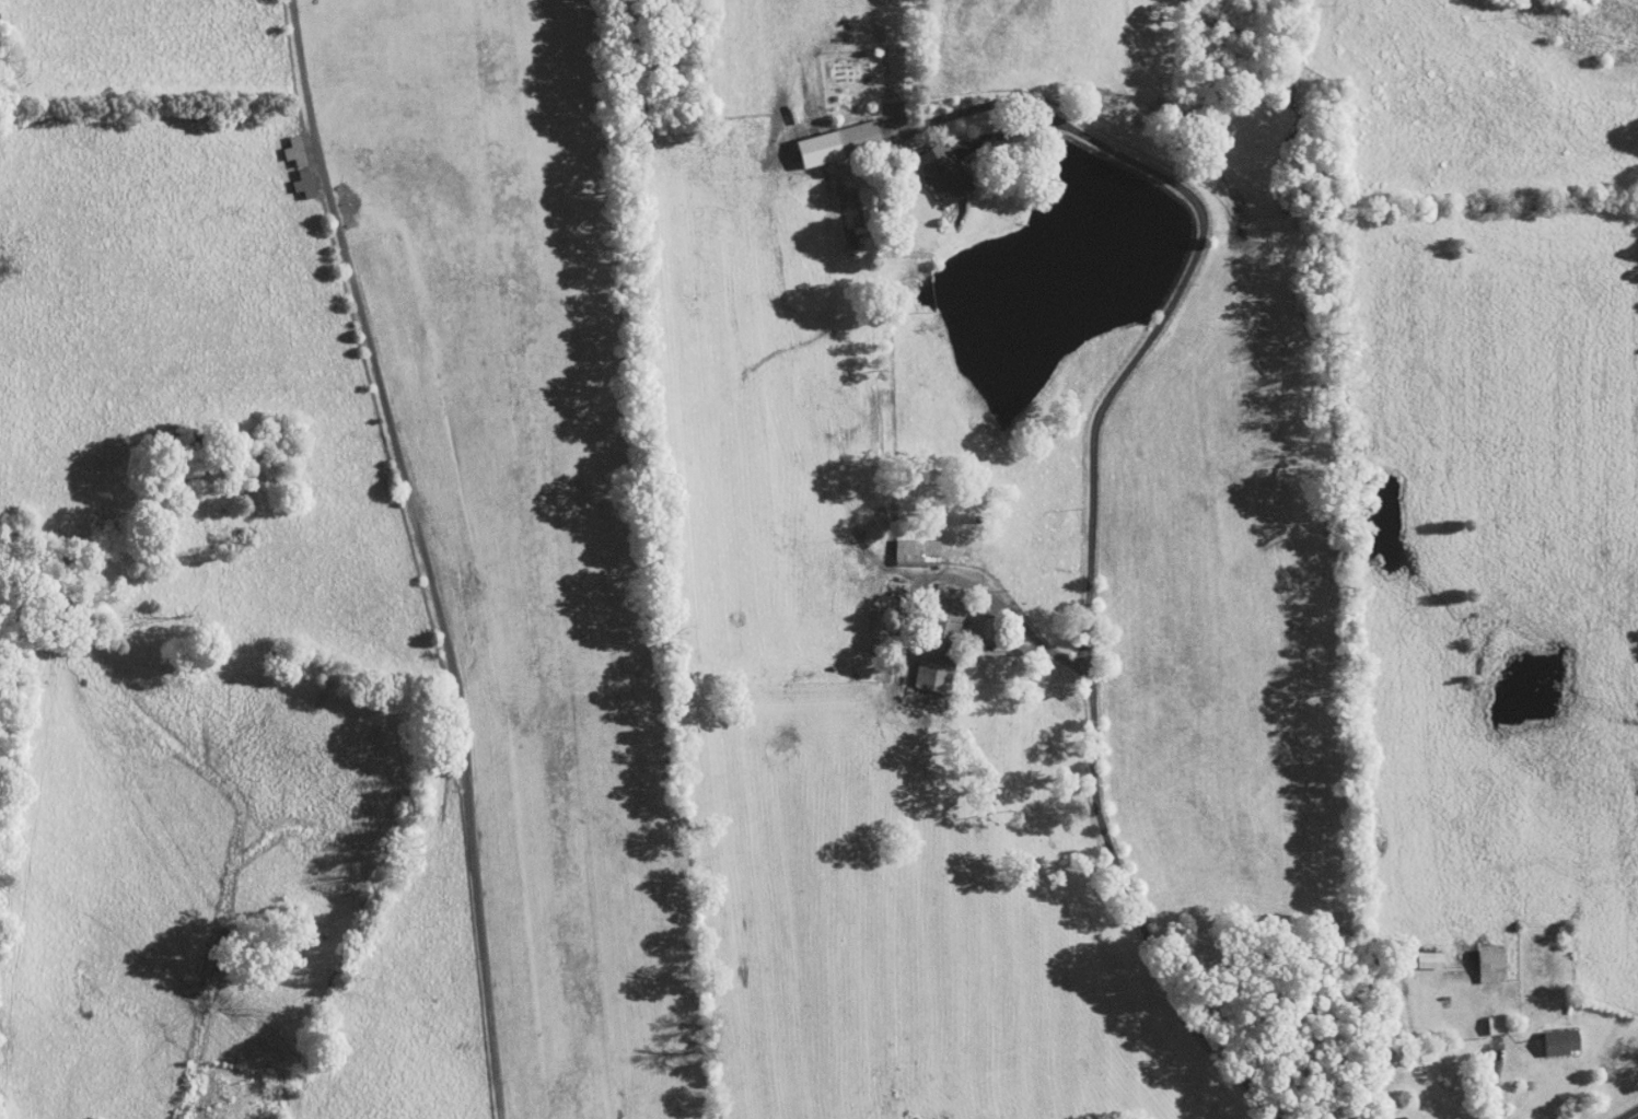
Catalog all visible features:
building: (830, 136)
building: (289, 159)
building: (934, 165)
road: (1178, 292)
airport: (526, 513)
building: (907, 545)
road: (425, 555)
airport runway: (538, 559)
road: (997, 597)
building: (930, 634)
road: (1148, 918)
building: (1420, 952)
building: (1483, 956)
building: (1487, 1016)
building: (1553, 1033)
road: (1494, 1082)
road: (1634, 1116)

